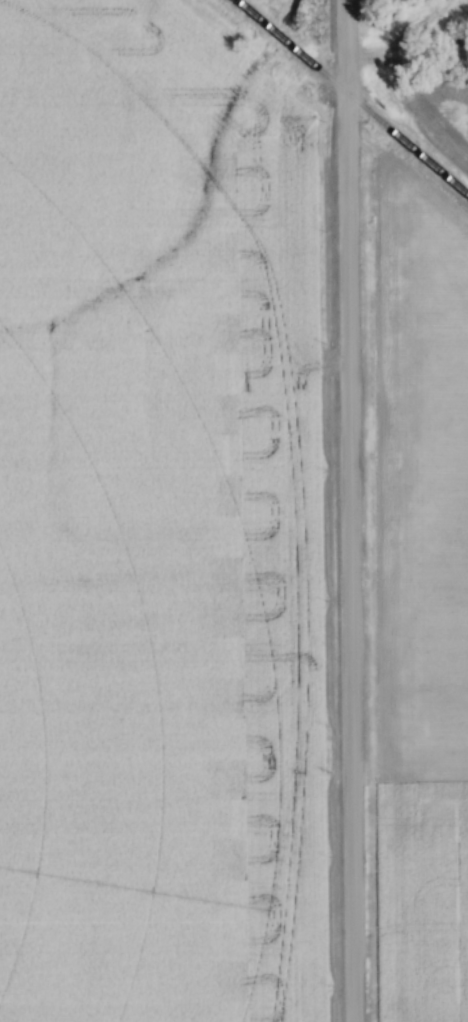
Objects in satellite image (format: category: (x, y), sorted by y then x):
railway: (351, 95)
road: (347, 511)

